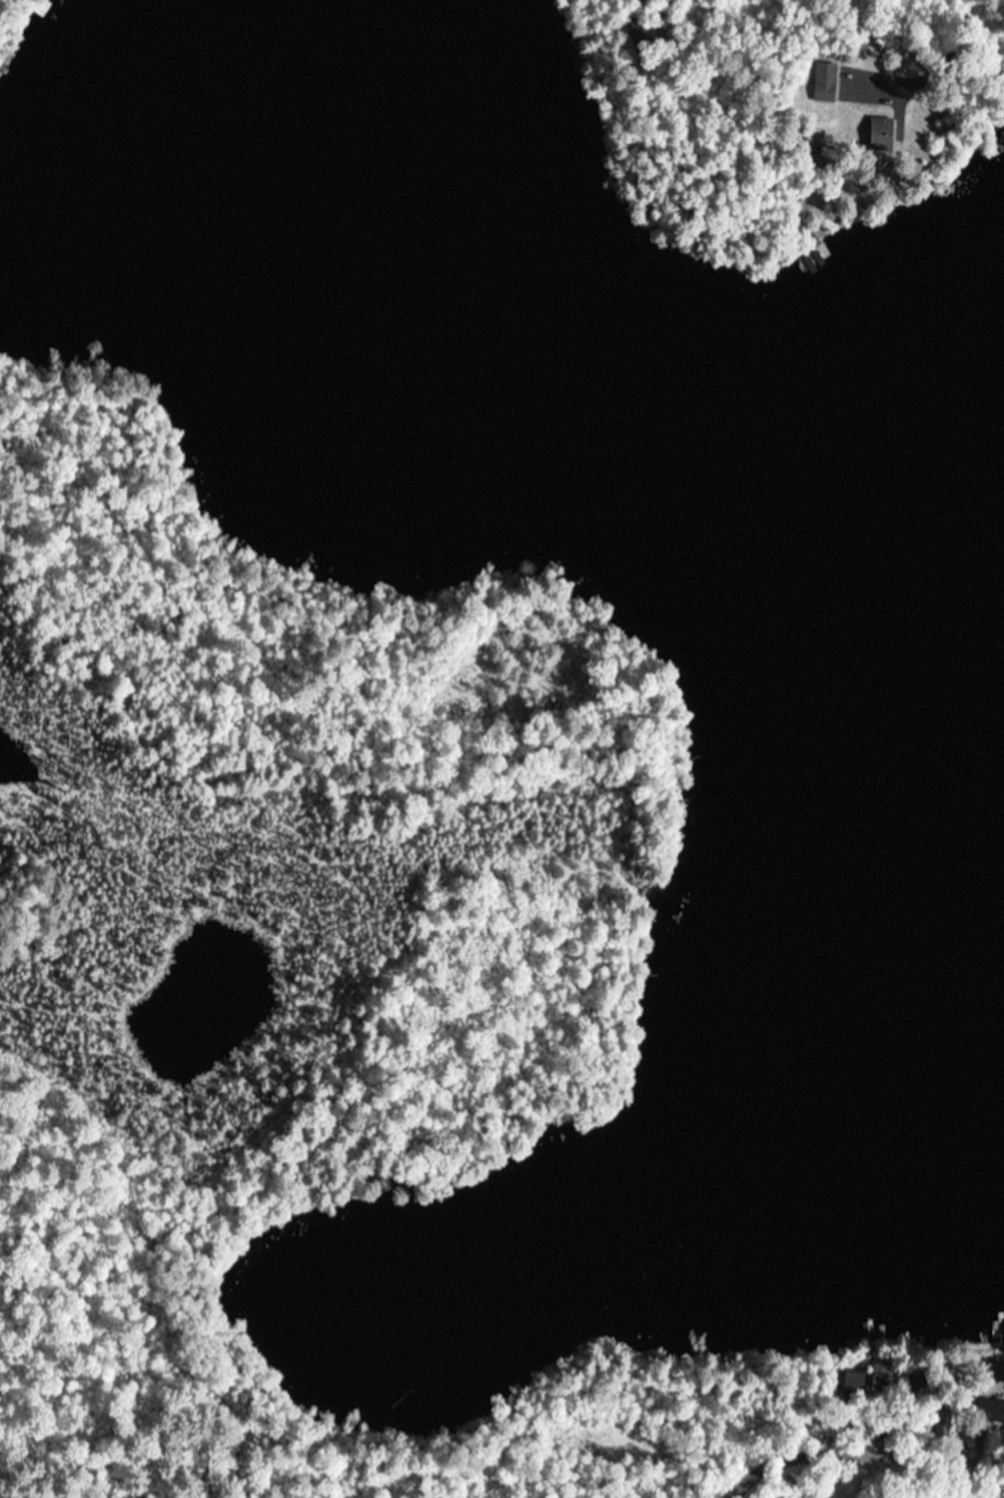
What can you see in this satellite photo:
building: (824, 81)
building: (880, 133)
building: (814, 253)
river: (565, 408)
river: (970, 899)
building: (869, 1376)
building: (989, 1410)

